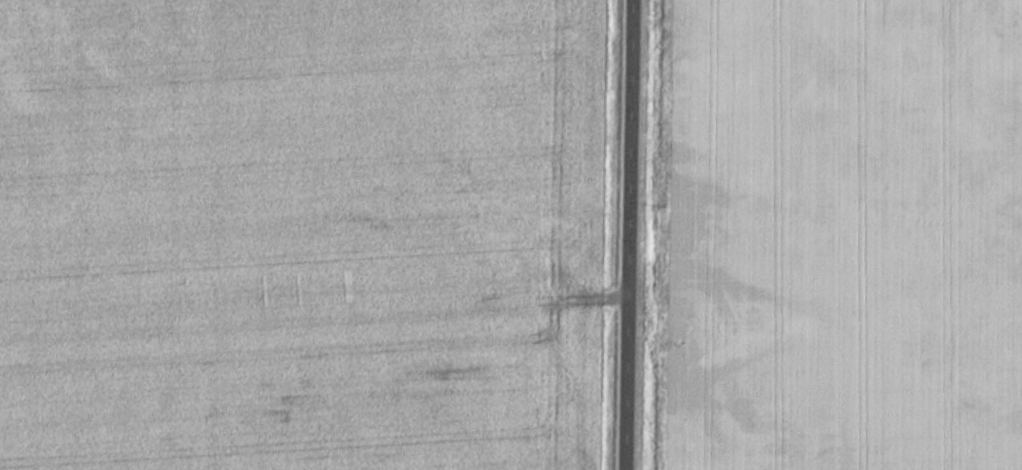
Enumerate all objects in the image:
road: (651, 235)

